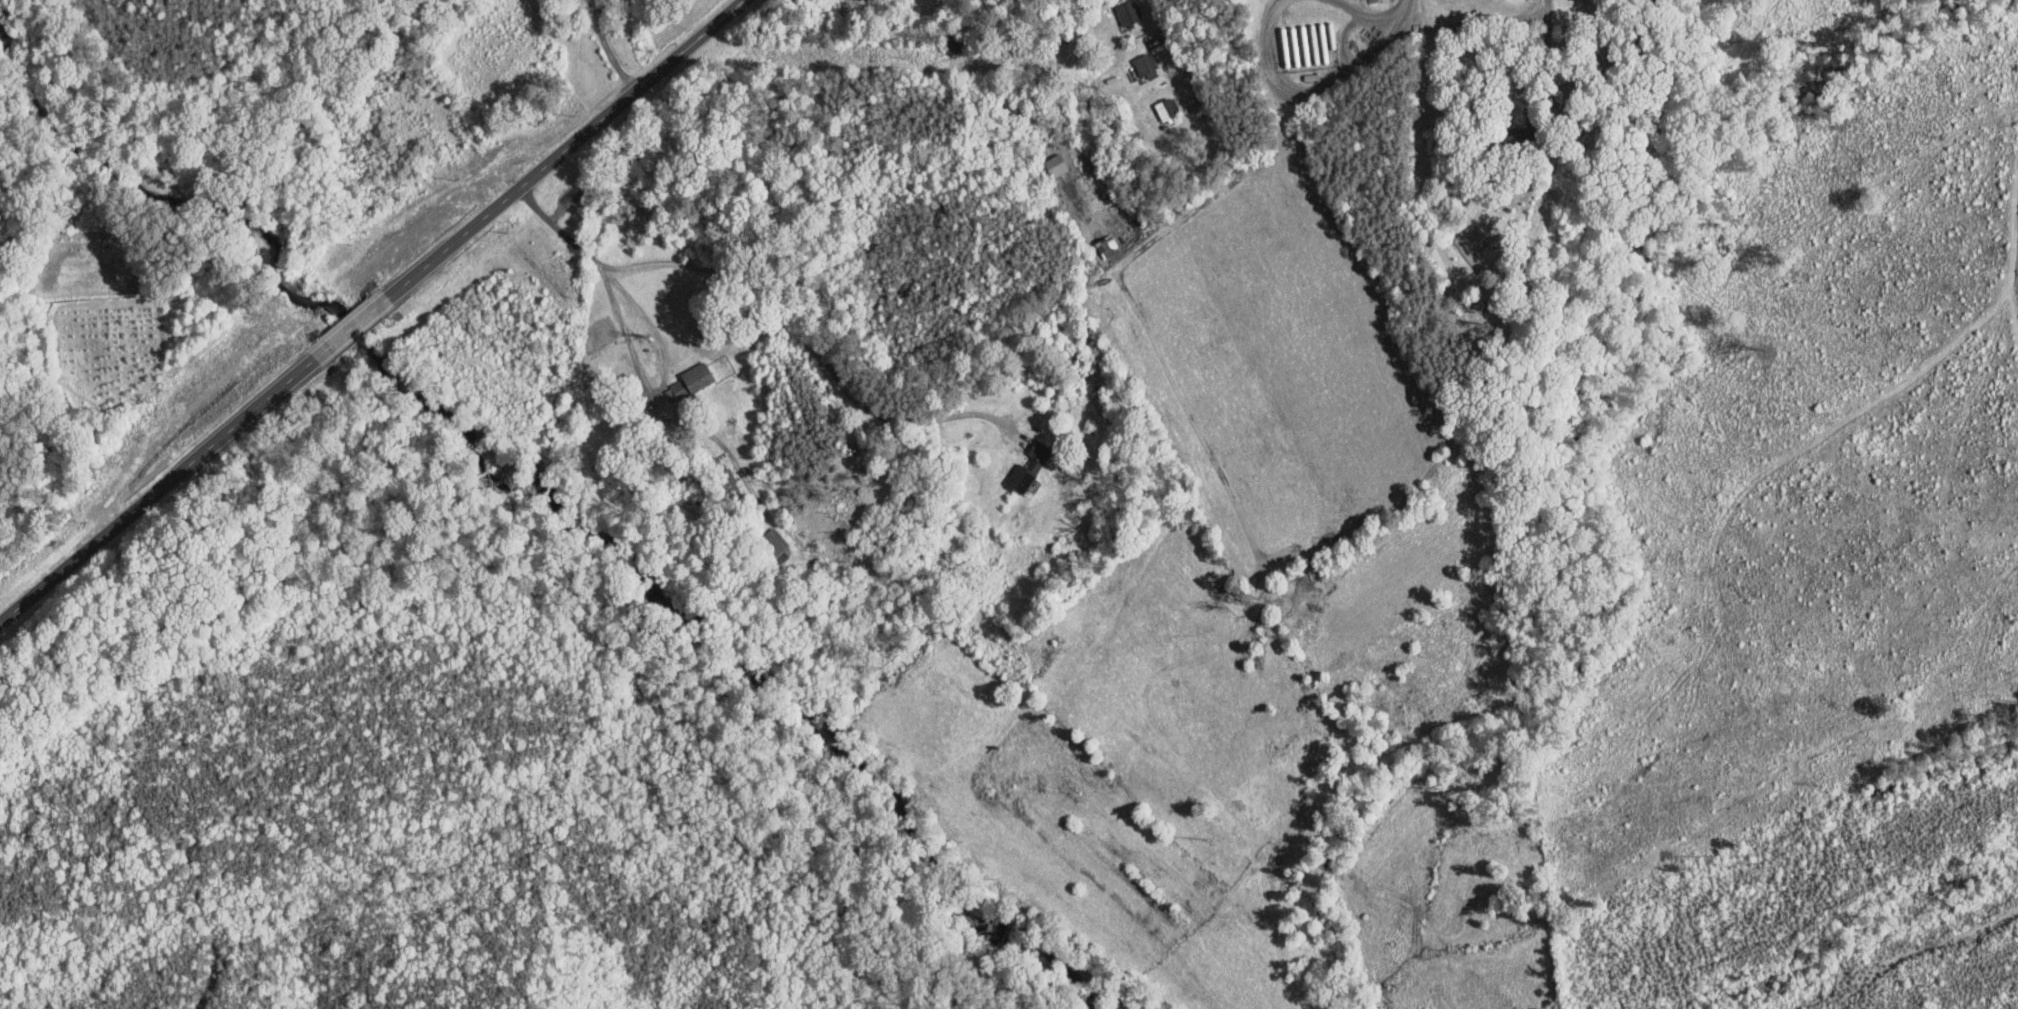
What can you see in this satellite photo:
road: (1400, 7)
building: (1115, 8)
road: (1366, 15)
road: (608, 50)
road: (1548, 50)
building: (1132, 58)
road: (1308, 96)
building: (1154, 102)
road: (1229, 152)
road: (557, 158)
building: (1043, 158)
building: (1095, 239)
road: (777, 307)
road: (355, 327)
road: (625, 335)
building: (679, 374)
building: (1026, 452)
building: (1007, 473)
road: (172, 481)
building: (762, 538)

